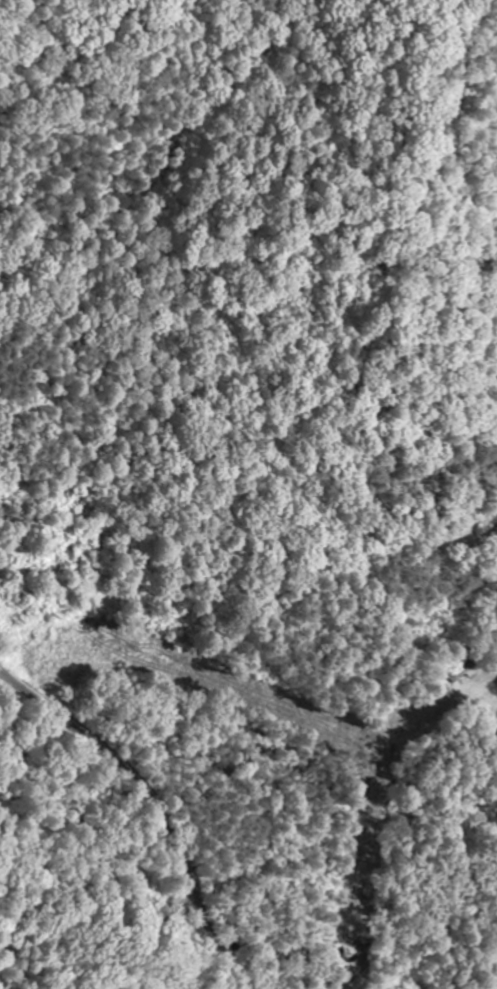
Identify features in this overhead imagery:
road: (460, 144)
road: (152, 804)

